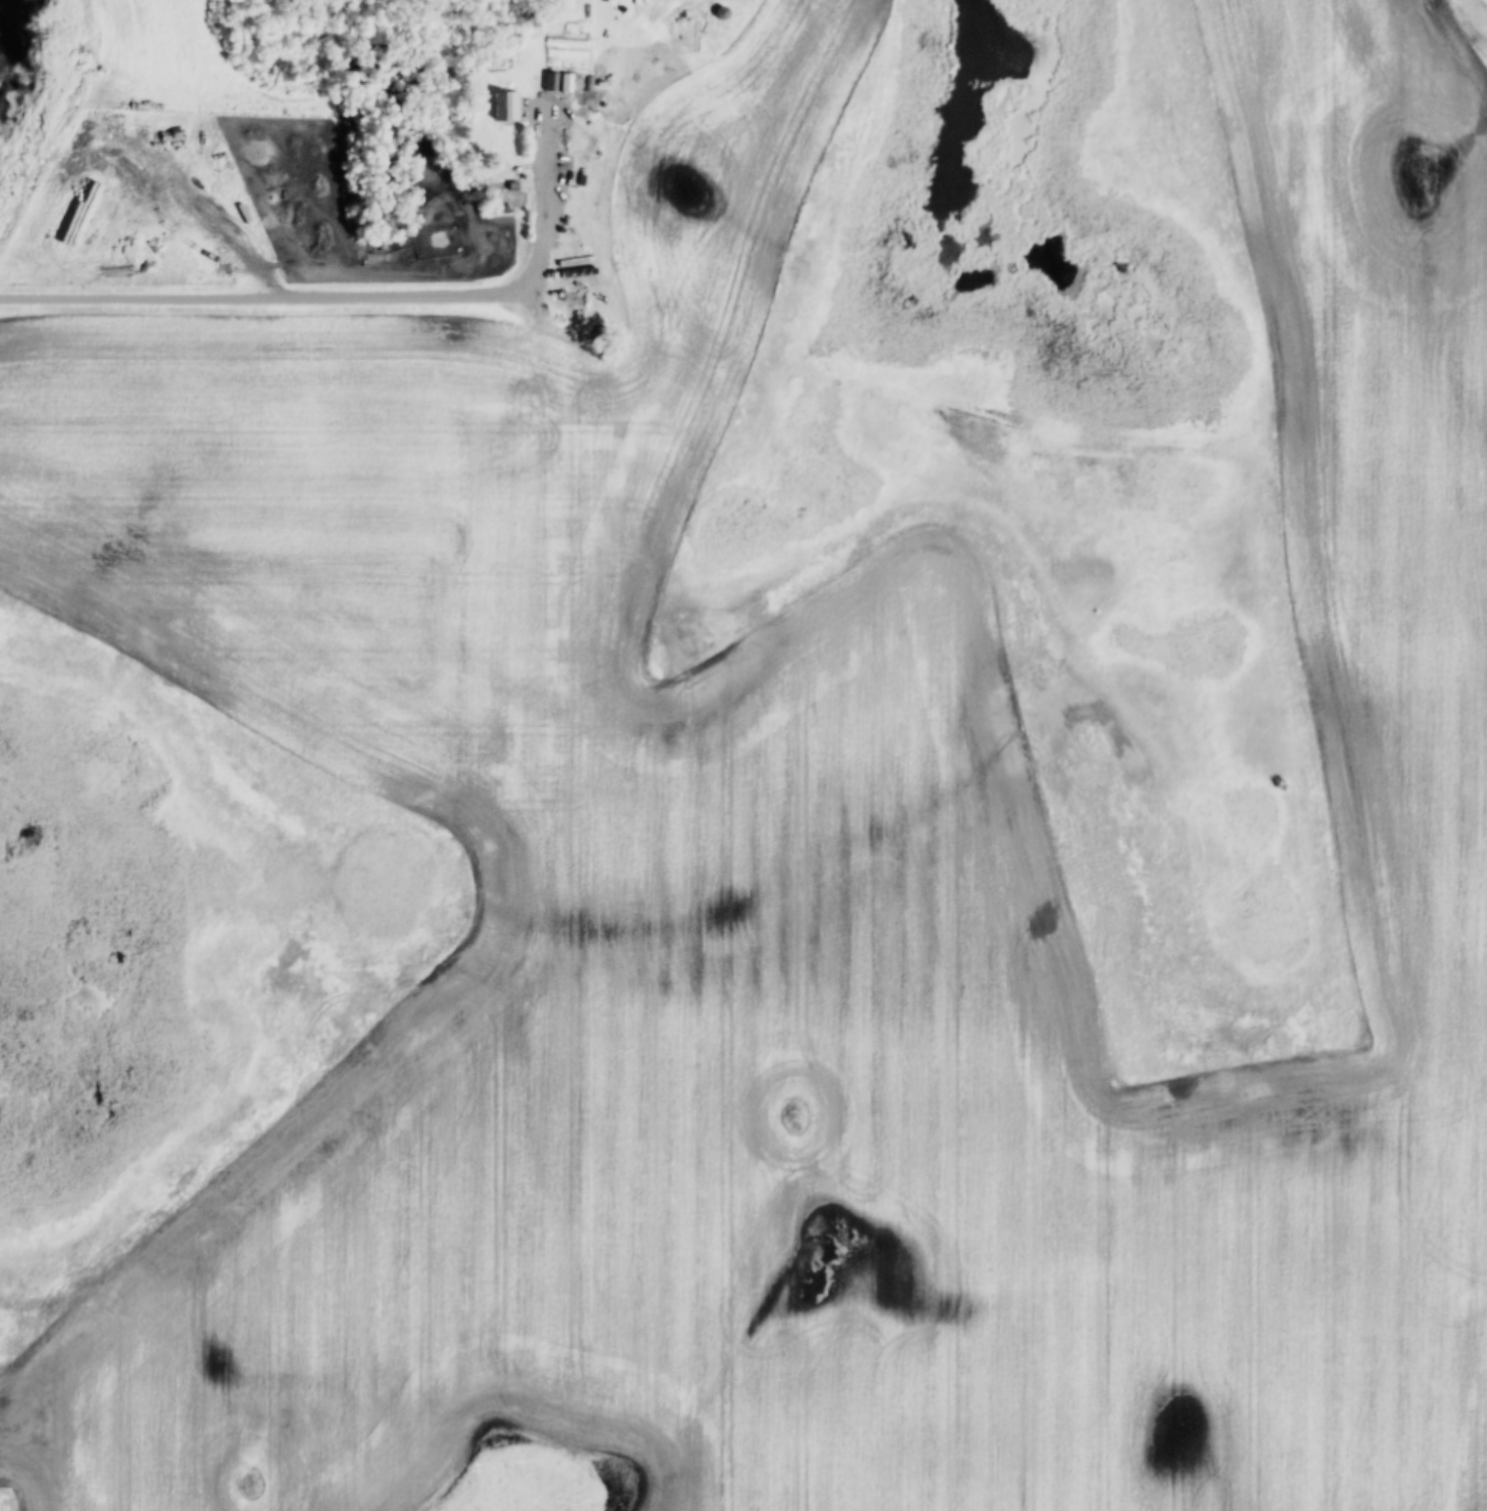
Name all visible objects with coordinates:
road: (334, 300)

